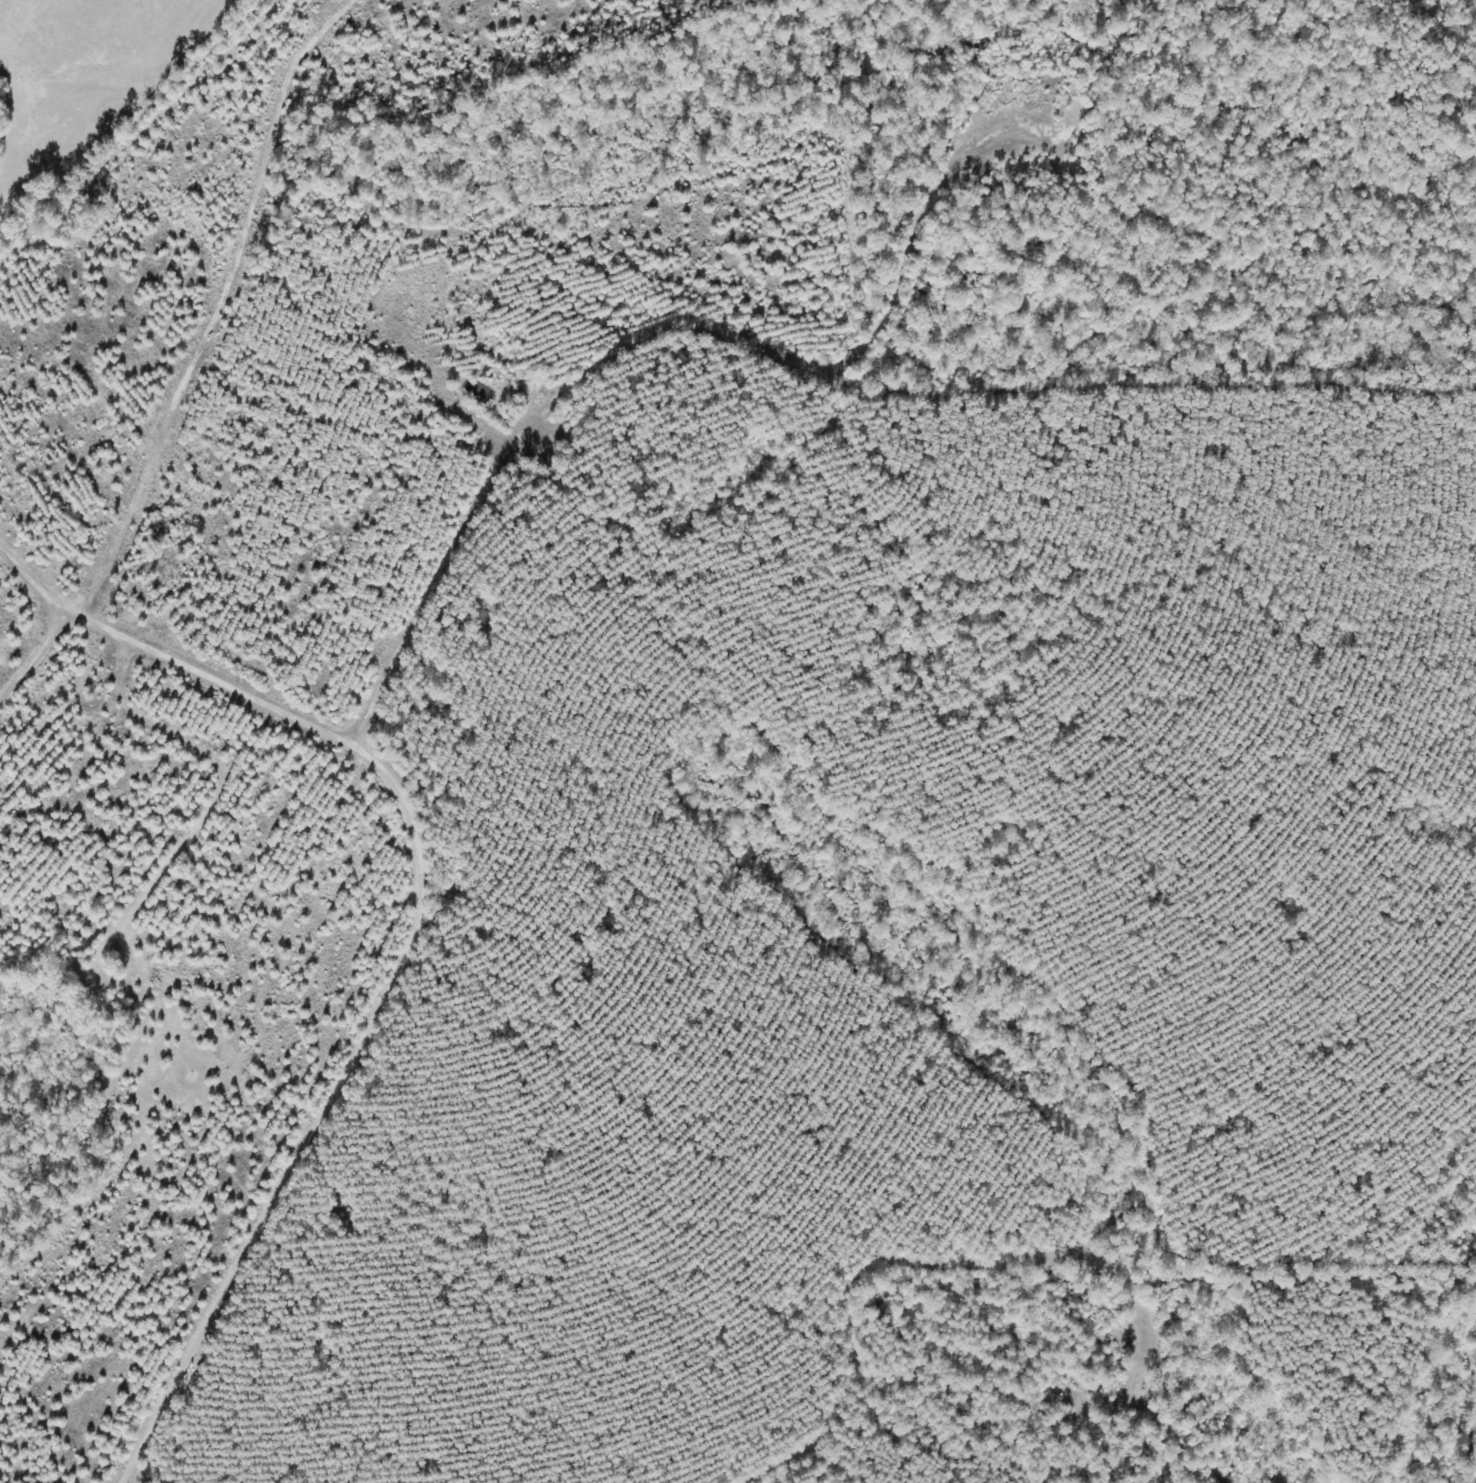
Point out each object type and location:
road: (426, 917)

